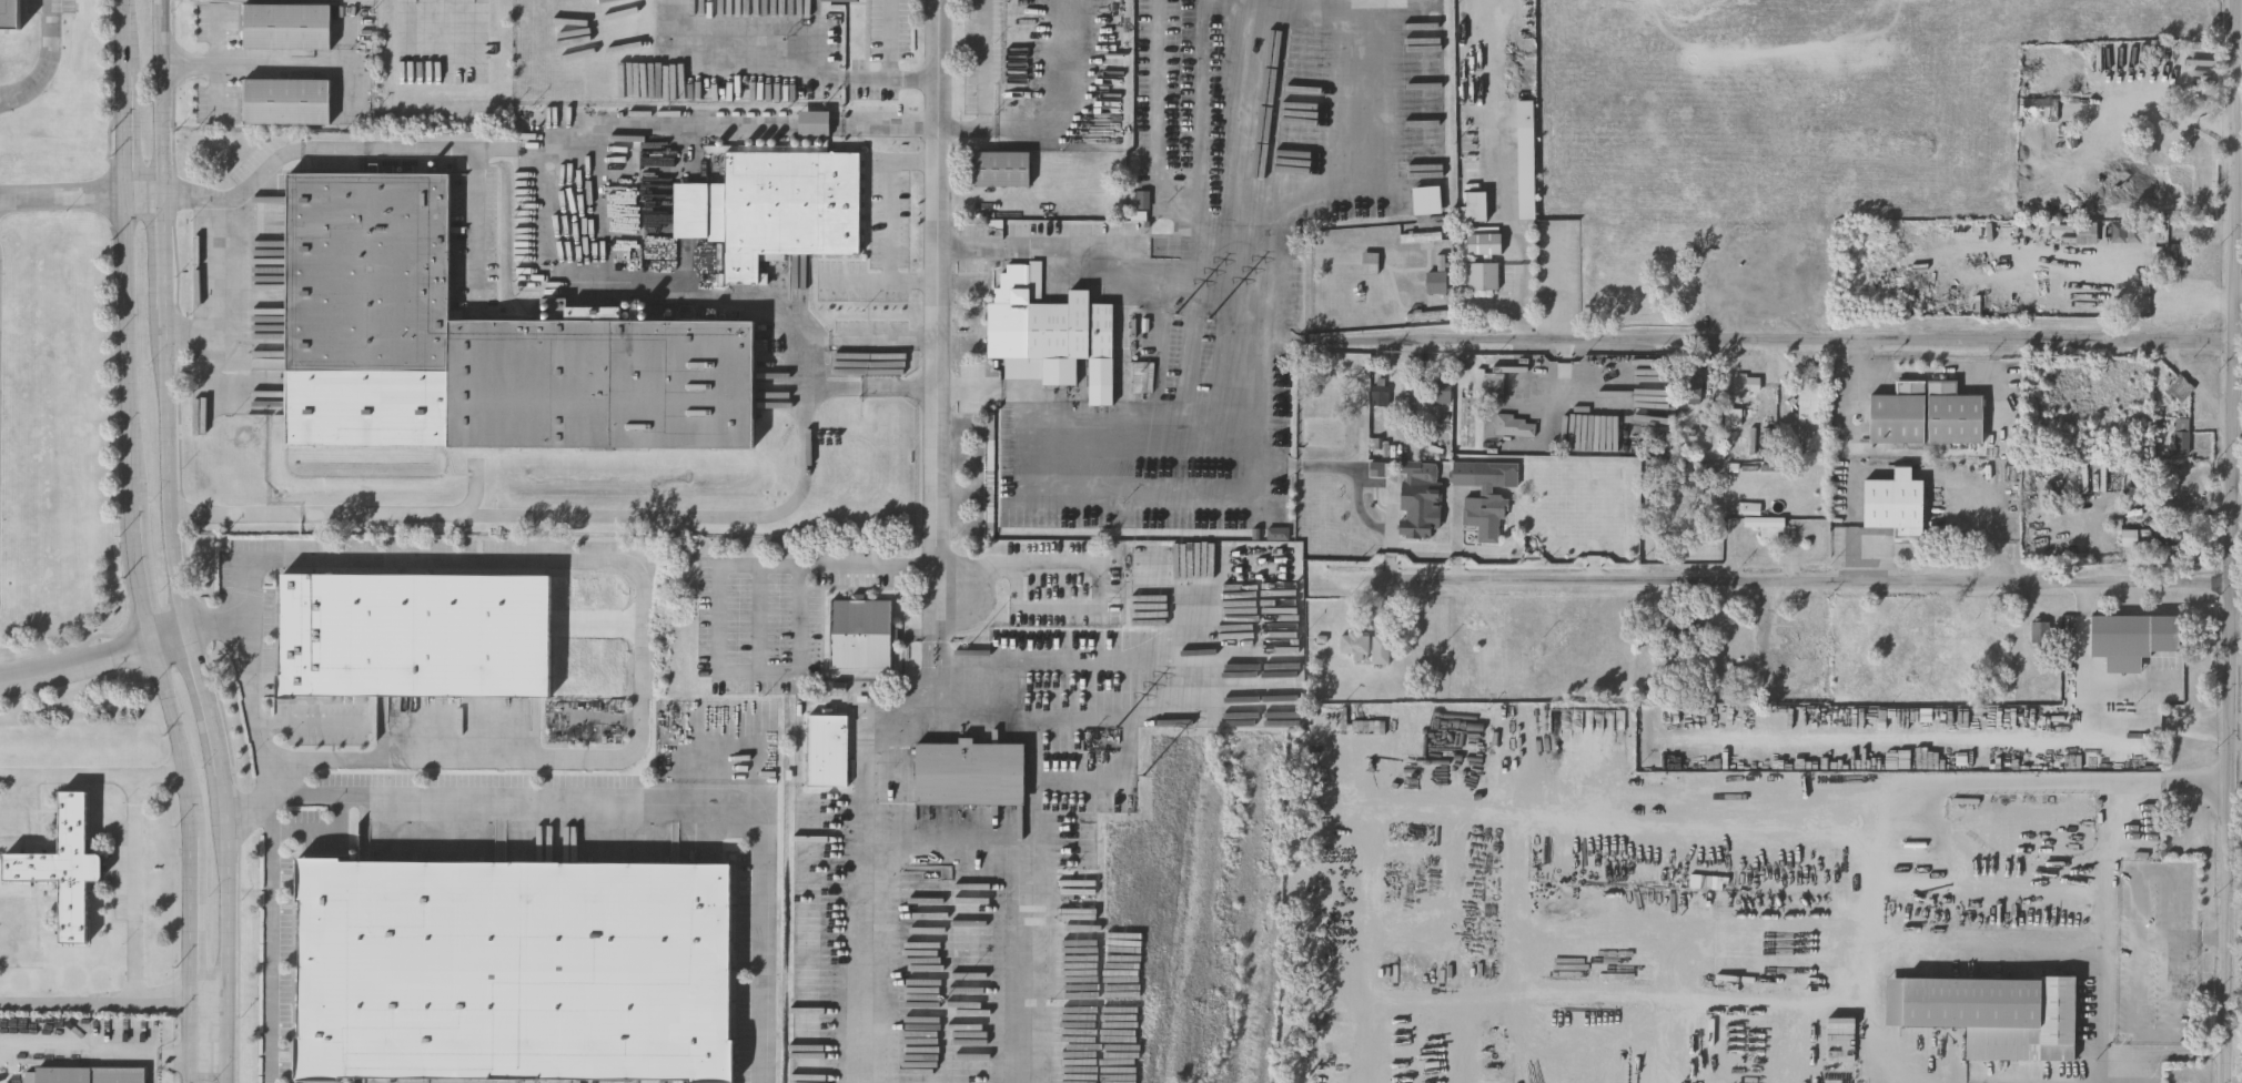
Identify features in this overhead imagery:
building: (845, 0)
building: (10, 12)
building: (2178, 21)
building: (287, 28)
road: (407, 30)
road: (892, 40)
road: (46, 61)
road: (987, 64)
road: (219, 67)
road: (283, 68)
road: (746, 77)
road: (916, 80)
building: (1522, 84)
road: (163, 99)
building: (286, 103)
building: (2041, 108)
road: (1052, 114)
road: (814, 125)
road: (886, 125)
road: (502, 151)
building: (1004, 171)
building: (1526, 172)
building: (1473, 174)
road: (1503, 191)
road: (145, 198)
road: (63, 199)
building: (1426, 200)
building: (778, 202)
road: (890, 202)
road: (983, 202)
building: (1474, 205)
road: (478, 224)
building: (2127, 231)
building: (2087, 232)
building: (1421, 236)
building: (1421, 240)
building: (1483, 240)
building: (2177, 256)
building: (1371, 262)
road: (165, 265)
road: (229, 272)
building: (365, 273)
building: (1483, 275)
road: (885, 282)
building: (1437, 282)
road: (939, 285)
road: (1561, 285)
road: (691, 290)
power tower: (1182, 318)
power tower: (1213, 324)
building: (1050, 331)
road: (199, 334)
road: (1792, 343)
road: (1194, 366)
road: (1562, 372)
building: (600, 381)
building: (1691, 386)
building: (1747, 386)
road: (870, 388)
building: (2181, 388)
building: (1378, 392)
building: (1442, 393)
building: (1812, 397)
building: (1336, 398)
building: (1898, 414)
building: (1952, 414)
building: (1734, 417)
building: (1516, 424)
building: (2182, 436)
road: (171, 485)
building: (1420, 498)
building: (1489, 499)
building: (1895, 503)
building: (1751, 507)
road: (576, 516)
building: (1767, 525)
building: (2165, 535)
building: (2129, 537)
road: (2231, 541)
road: (137, 544)
road: (1397, 544)
road: (605, 559)
road: (1388, 563)
road: (1456, 565)
road: (1097, 567)
road: (1795, 584)
road: (937, 604)
road: (723, 605)
road: (218, 630)
building: (861, 632)
building: (413, 635)
building: (1801, 638)
building: (2132, 638)
building: (1355, 644)
building: (1382, 648)
road: (2235, 658)
road: (94, 659)
road: (929, 666)
road: (943, 667)
road: (935, 700)
road: (206, 701)
road: (311, 720)
road: (2091, 723)
power tower: (1120, 730)
building: (827, 749)
building: (971, 772)
road: (92, 778)
road: (1921, 779)
power tower: (1148, 782)
road: (634, 801)
road: (1498, 807)
road: (2118, 810)
road: (971, 839)
building: (64, 864)
road: (138, 890)
road: (2141, 904)
road: (230, 924)
road: (2212, 935)
road: (270, 941)
road: (2140, 950)
road: (1982, 952)
building: (513, 970)
building: (1675, 991)
road: (1628, 995)
road: (115, 1002)
building: (1996, 1014)
building: (2141, 1029)
road: (80, 1050)
road: (2152, 1051)
road: (2219, 1052)
road: (175, 1059)
road: (153, 1069)
road: (198, 1071)
building: (90, 1074)

